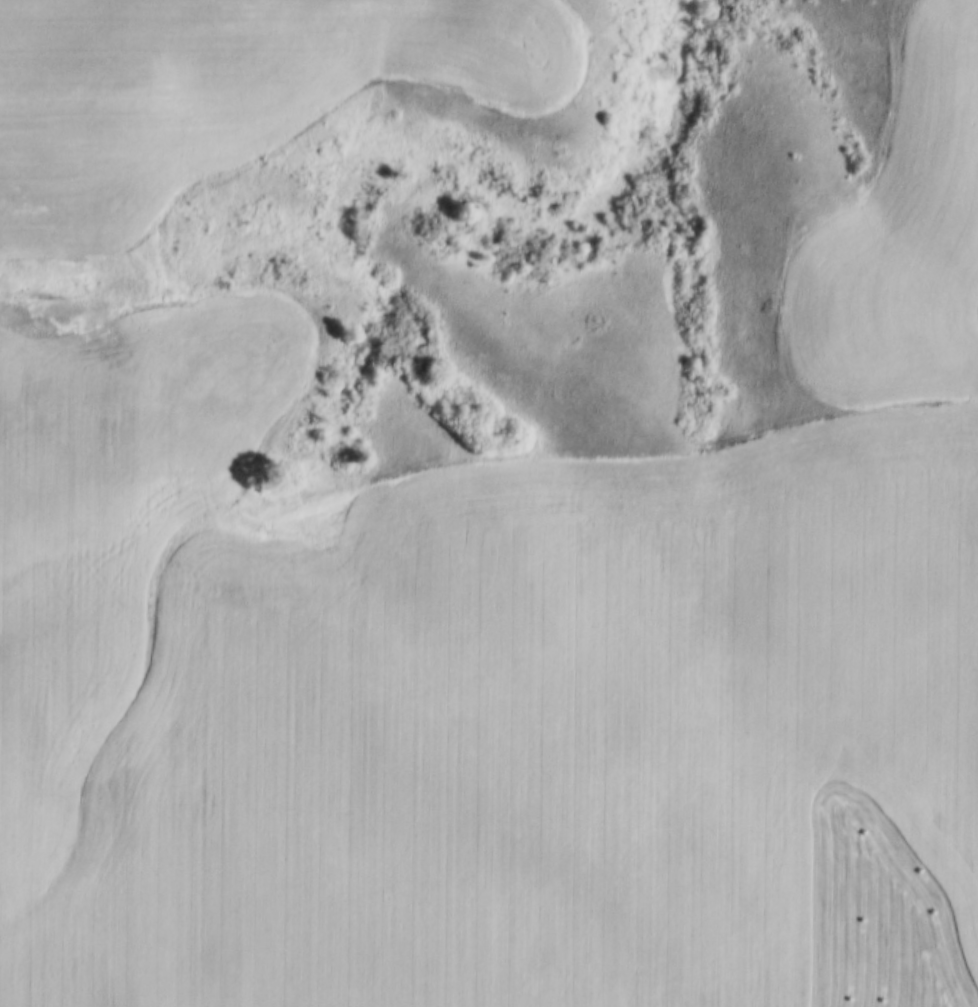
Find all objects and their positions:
road: (840, 414)

